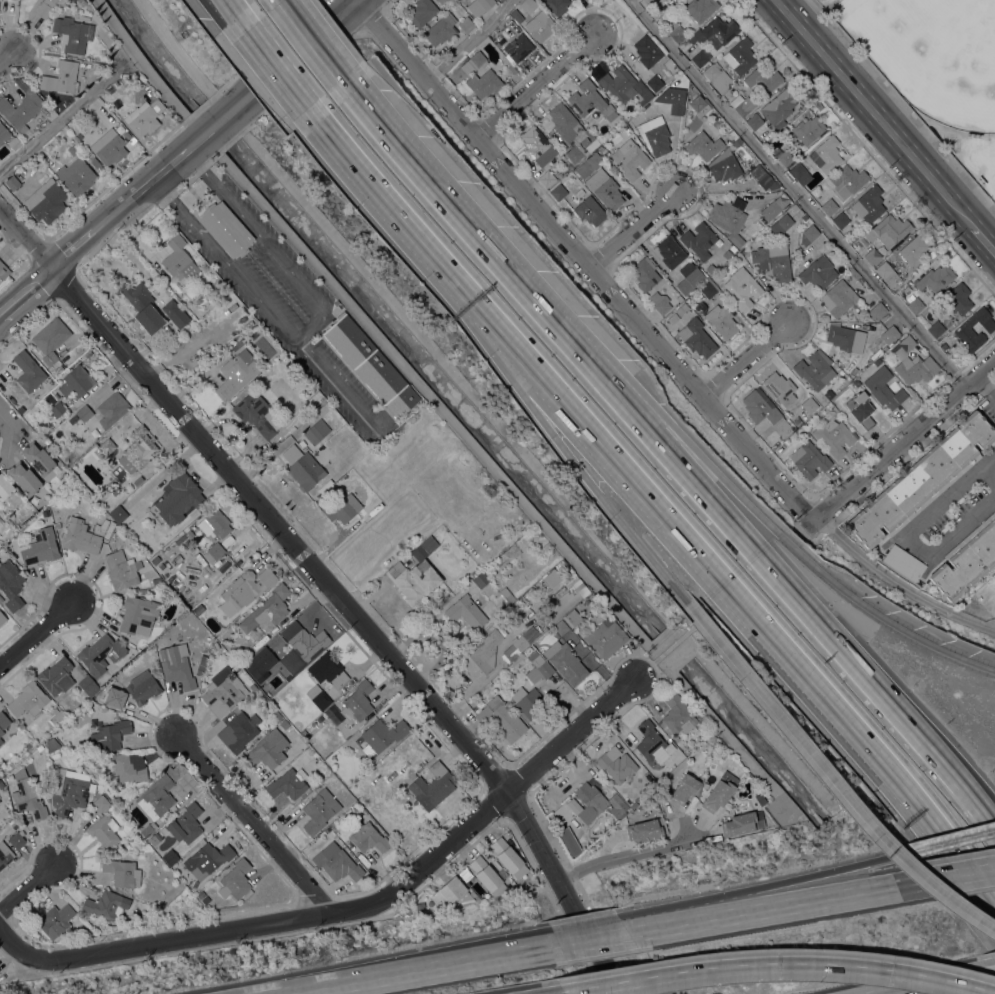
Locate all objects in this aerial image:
road: (356, 0)
road: (285, 1)
road: (285, 1)
building: (440, 1)
building: (647, 1)
building: (81, 2)
building: (528, 5)
building: (557, 5)
building: (479, 6)
building: (44, 8)
building: (700, 8)
building: (421, 12)
road: (236, 15)
road: (239, 15)
building: (515, 16)
building: (466, 24)
building: (540, 25)
building: (441, 29)
building: (676, 30)
building: (715, 32)
building: (73, 33)
road: (315, 40)
road: (467, 42)
building: (519, 47)
building: (647, 50)
road: (300, 51)
road: (7, 56)
building: (739, 56)
building: (700, 57)
building: (474, 62)
building: (512, 69)
road: (281, 70)
building: (716, 75)
building: (61, 77)
building: (763, 79)
building: (484, 83)
building: (654, 83)
building: (508, 84)
road: (539, 84)
building: (621, 84)
building: (645, 98)
building: (672, 99)
building: (590, 100)
building: (700, 105)
building: (740, 105)
building: (779, 106)
building: (21, 109)
road: (873, 112)
road: (62, 117)
building: (144, 117)
road: (222, 120)
building: (755, 121)
building: (561, 122)
building: (76, 129)
building: (807, 130)
building: (3, 132)
building: (733, 135)
building: (655, 136)
building: (588, 142)
building: (737, 142)
building: (13, 143)
building: (703, 145)
building: (537, 146)
building: (109, 147)
building: (72, 149)
building: (575, 151)
building: (825, 154)
building: (783, 155)
building: (630, 158)
building: (95, 163)
building: (589, 164)
building: (724, 166)
building: (566, 168)
building: (800, 173)
building: (559, 174)
building: (76, 175)
building: (547, 178)
building: (764, 178)
building: (848, 180)
road: (373, 181)
building: (12, 182)
road: (148, 183)
building: (604, 189)
building: (558, 192)
road: (797, 194)
building: (46, 202)
building: (869, 204)
building: (829, 206)
building: (774, 207)
building: (589, 210)
building: (729, 218)
building: (840, 220)
building: (782, 223)
road: (634, 228)
building: (226, 229)
building: (888, 230)
building: (808, 234)
road: (983, 238)
building: (699, 241)
road: (75, 247)
building: (913, 250)
building: (670, 251)
building: (872, 256)
building: (179, 259)
building: (773, 261)
road: (583, 264)
building: (710, 268)
building: (3, 271)
road: (450, 271)
building: (818, 272)
building: (887, 273)
building: (644, 274)
building: (689, 277)
building: (935, 278)
road: (448, 281)
building: (163, 285)
building: (742, 287)
road: (26, 289)
building: (708, 289)
building: (838, 298)
building: (958, 298)
building: (660, 303)
building: (142, 305)
building: (701, 305)
building: (915, 305)
building: (681, 308)
building: (878, 310)
building: (175, 313)
building: (672, 317)
building: (721, 320)
road: (314, 328)
building: (935, 328)
building: (972, 330)
building: (175, 333)
building: (889, 334)
road: (574, 337)
building: (698, 337)
building: (846, 337)
building: (50, 338)
building: (349, 340)
building: (240, 342)
building: (943, 345)
building: (881, 350)
road: (745, 357)
building: (913, 362)
building: (877, 363)
building: (815, 369)
building: (28, 371)
building: (236, 373)
building: (380, 376)
building: (75, 381)
building: (856, 382)
road: (983, 384)
road: (339, 387)
building: (883, 387)
building: (779, 388)
building: (828, 393)
road: (991, 393)
building: (402, 401)
building: (809, 405)
building: (112, 408)
building: (861, 408)
building: (57, 409)
building: (763, 409)
building: (84, 412)
building: (257, 414)
building: (797, 421)
road: (6, 430)
building: (316, 431)
building: (834, 436)
building: (354, 439)
road: (904, 444)
building: (107, 446)
building: (138, 450)
road: (669, 451)
road: (573, 458)
building: (809, 459)
building: (40, 460)
road: (988, 461)
building: (303, 466)
road: (988, 475)
road: (626, 476)
building: (24, 478)
building: (921, 480)
building: (5, 487)
building: (490, 489)
building: (178, 497)
building: (344, 508)
building: (118, 514)
building: (214, 524)
building: (193, 527)
road: (805, 532)
building: (189, 534)
building: (79, 536)
road: (783, 537)
road: (908, 542)
building: (40, 547)
building: (213, 552)
building: (178, 559)
building: (155, 560)
building: (966, 560)
building: (904, 562)
building: (121, 569)
building: (474, 573)
building: (416, 575)
building: (481, 580)
building: (549, 580)
building: (156, 581)
building: (10, 584)
road: (901, 585)
building: (246, 587)
road: (328, 588)
building: (576, 590)
building: (507, 595)
building: (565, 595)
building: (1, 598)
building: (198, 608)
building: (267, 610)
building: (466, 611)
building: (138, 614)
building: (2, 618)
building: (572, 618)
building: (561, 627)
building: (501, 630)
building: (254, 633)
building: (227, 634)
road: (37, 635)
building: (606, 636)
building: (521, 642)
building: (216, 644)
building: (300, 645)
road: (668, 651)
building: (101, 653)
building: (482, 655)
building: (521, 656)
building: (565, 662)
building: (537, 665)
building: (178, 666)
building: (328, 669)
building: (57, 675)
building: (88, 685)
building: (142, 688)
building: (223, 691)
building: (318, 696)
building: (28, 699)
building: (112, 699)
building: (528, 702)
building: (351, 705)
building: (677, 714)
building: (276, 715)
building: (57, 717)
building: (501, 719)
building: (3, 722)
building: (284, 726)
building: (239, 731)
building: (111, 734)
road: (849, 735)
building: (382, 736)
building: (1, 741)
building: (652, 743)
building: (52, 744)
building: (40, 747)
building: (268, 751)
building: (616, 764)
building: (128, 767)
road: (831, 778)
building: (288, 783)
building: (1, 784)
building: (433, 786)
building: (684, 788)
building: (720, 791)
building: (27, 795)
building: (70, 795)
building: (156, 797)
building: (591, 798)
building: (0, 801)
building: (100, 803)
road: (495, 808)
building: (618, 809)
building: (319, 810)
building: (186, 823)
road: (250, 823)
building: (741, 824)
building: (147, 829)
building: (644, 829)
building: (104, 832)
building: (367, 836)
building: (154, 838)
building: (16, 840)
road: (954, 841)
building: (5, 854)
road: (953, 854)
road: (624, 855)
building: (170, 857)
building: (211, 857)
building: (508, 857)
building: (336, 862)
building: (121, 871)
building: (489, 876)
road: (950, 877)
building: (235, 880)
road: (810, 880)
road: (29, 886)
building: (452, 891)
building: (106, 904)
road: (768, 908)
building: (56, 919)
road: (668, 920)
road: (596, 938)
road: (157, 942)
road: (780, 963)
road: (424, 969)
road: (943, 982)
road: (558, 993)

